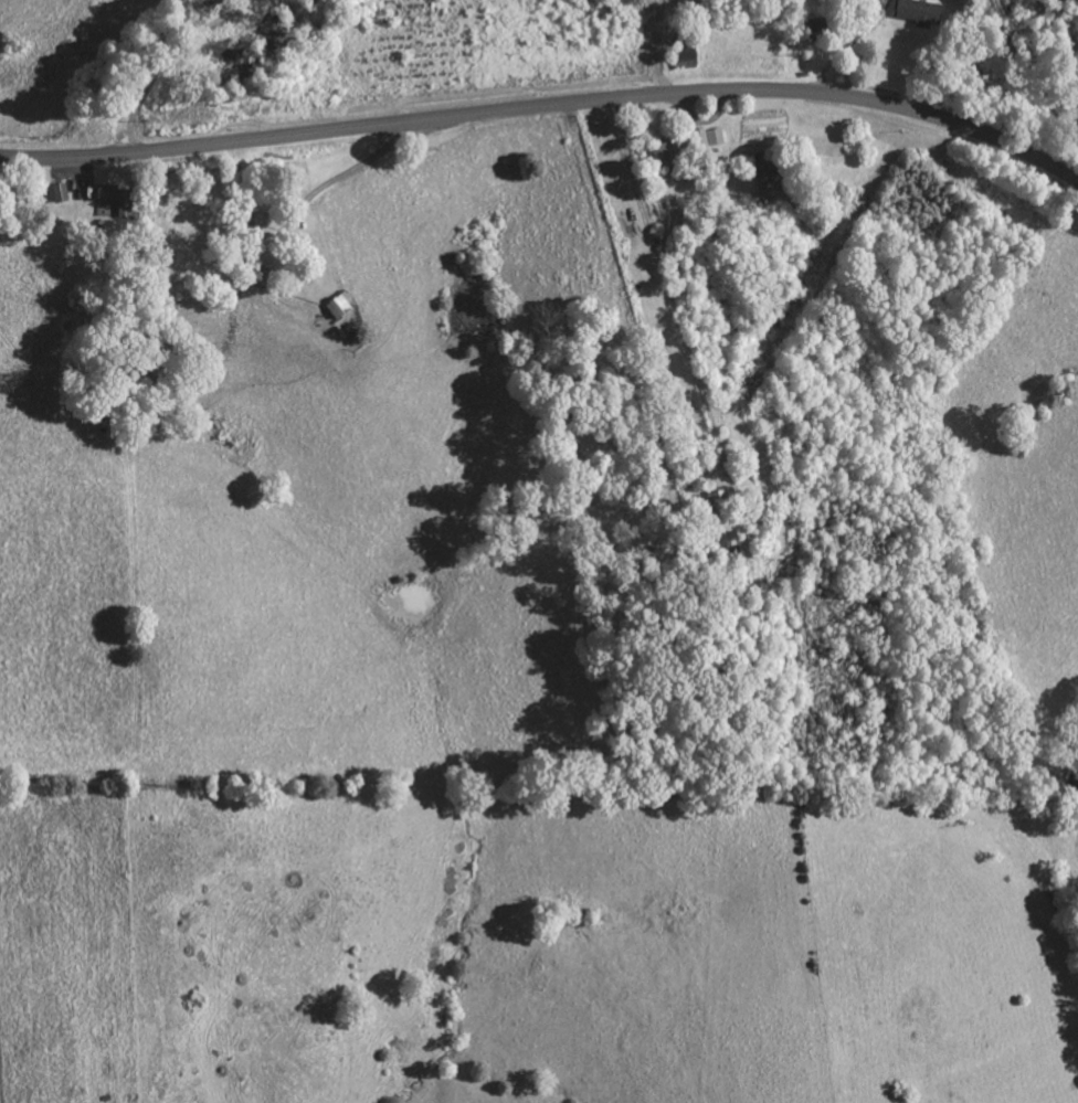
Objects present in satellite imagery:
building: (915, 14)
road: (847, 46)
building: (680, 56)
road: (177, 59)
road: (546, 104)
building: (706, 140)
road: (337, 177)
building: (55, 195)
building: (112, 201)
road: (659, 263)
building: (338, 307)
building: (725, 543)

